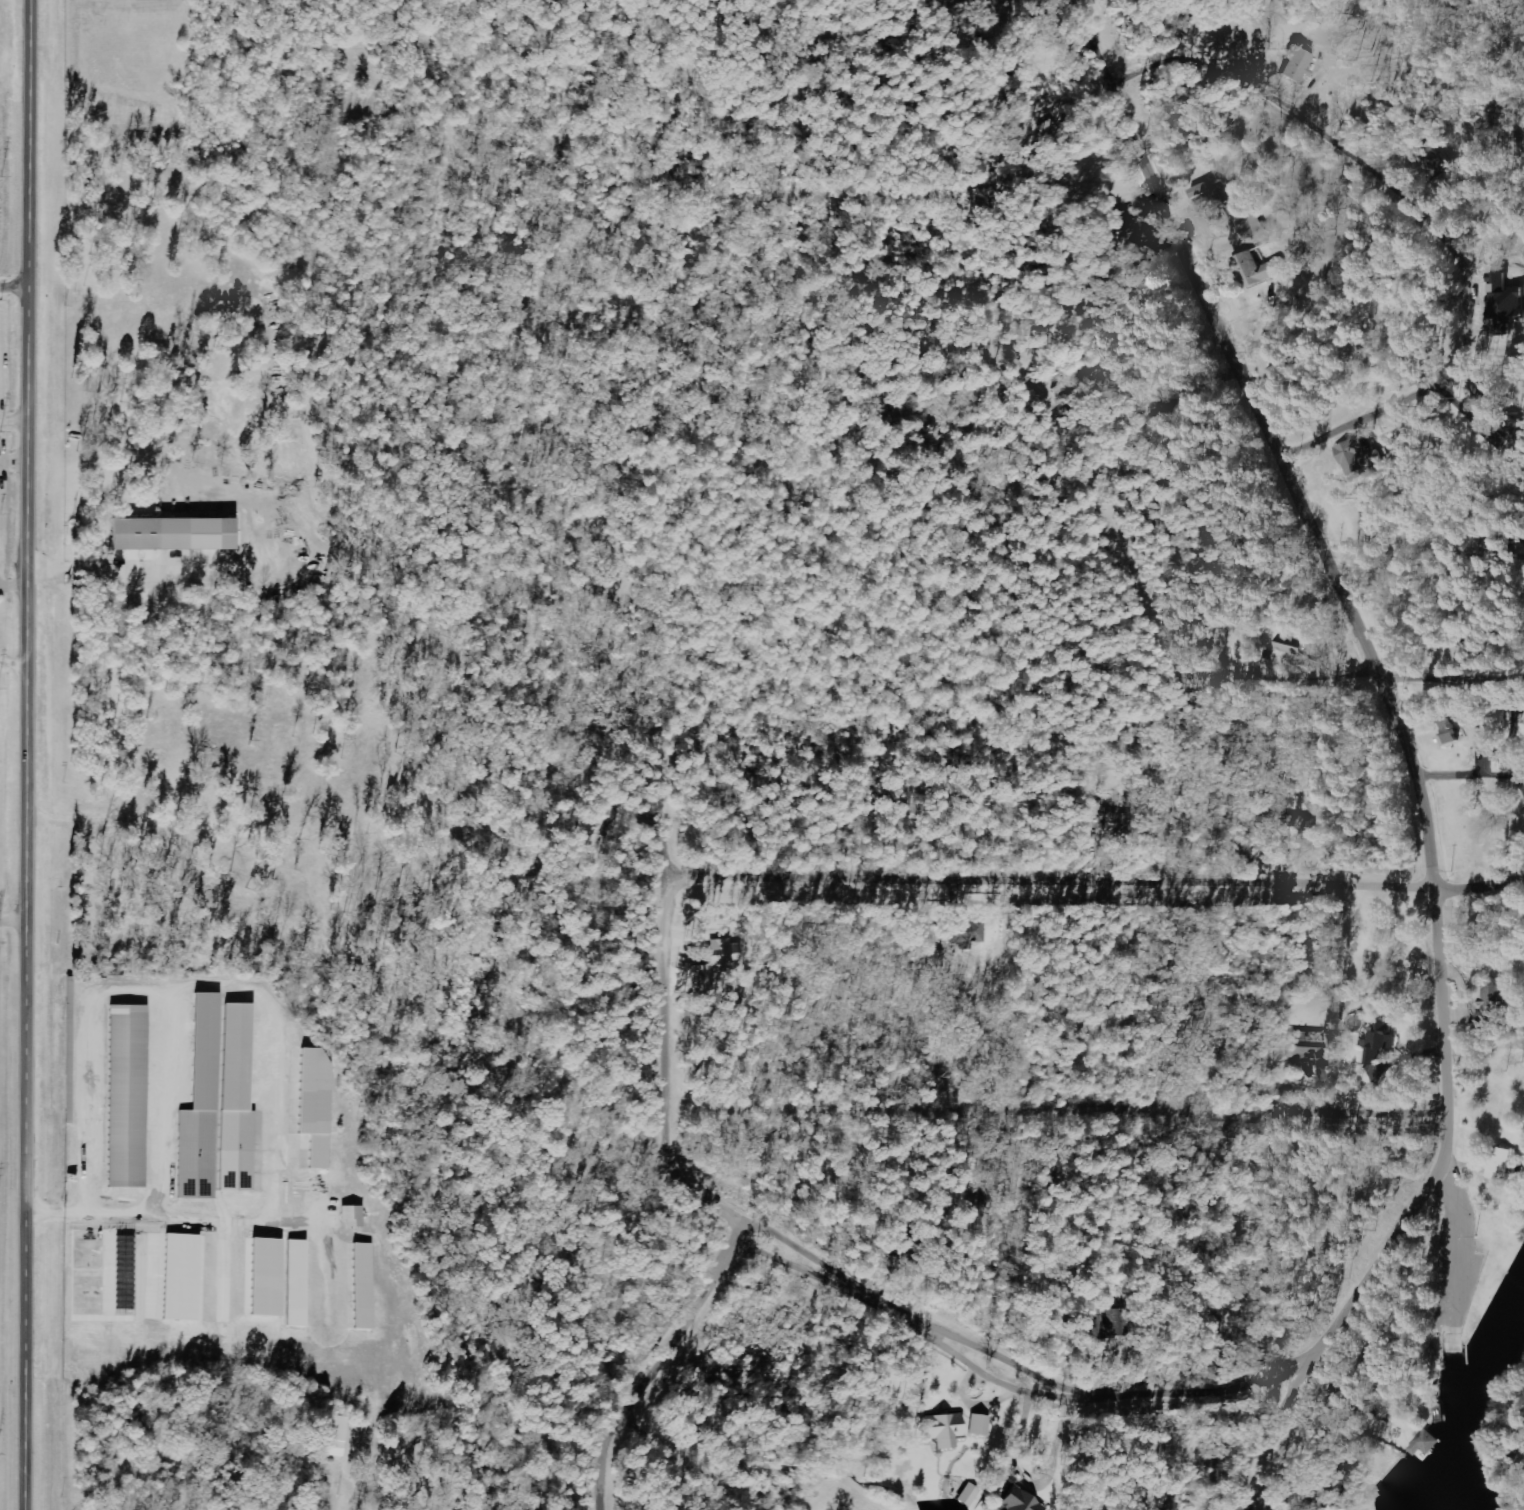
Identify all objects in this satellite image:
building: (1301, 66)
road: (1382, 165)
building: (1201, 191)
building: (1117, 221)
building: (1258, 268)
building: (1511, 290)
road: (17, 293)
building: (1359, 459)
building: (168, 535)
road: (942, 549)
road: (1366, 609)
road: (1073, 673)
building: (1490, 723)
building: (1452, 732)
road: (31, 755)
building: (1300, 824)
road: (1479, 879)
road: (863, 883)
building: (720, 955)
building: (1494, 1002)
road: (1049, 1007)
building: (1380, 1042)
building: (1303, 1046)
building: (126, 1096)
building: (218, 1105)
building: (316, 1105)
building: (1501, 1163)
building: (357, 1216)
road: (1006, 1264)
building: (178, 1277)
building: (266, 1277)
building: (297, 1283)
building: (364, 1286)
road: (652, 1351)
road: (1215, 1365)
road: (1521, 1368)
road: (14, 1399)
road: (978, 1406)
road: (735, 1412)
building: (980, 1425)
building: (942, 1430)
building: (336, 1439)
building: (1425, 1445)
building: (969, 1495)
building: (1017, 1501)

